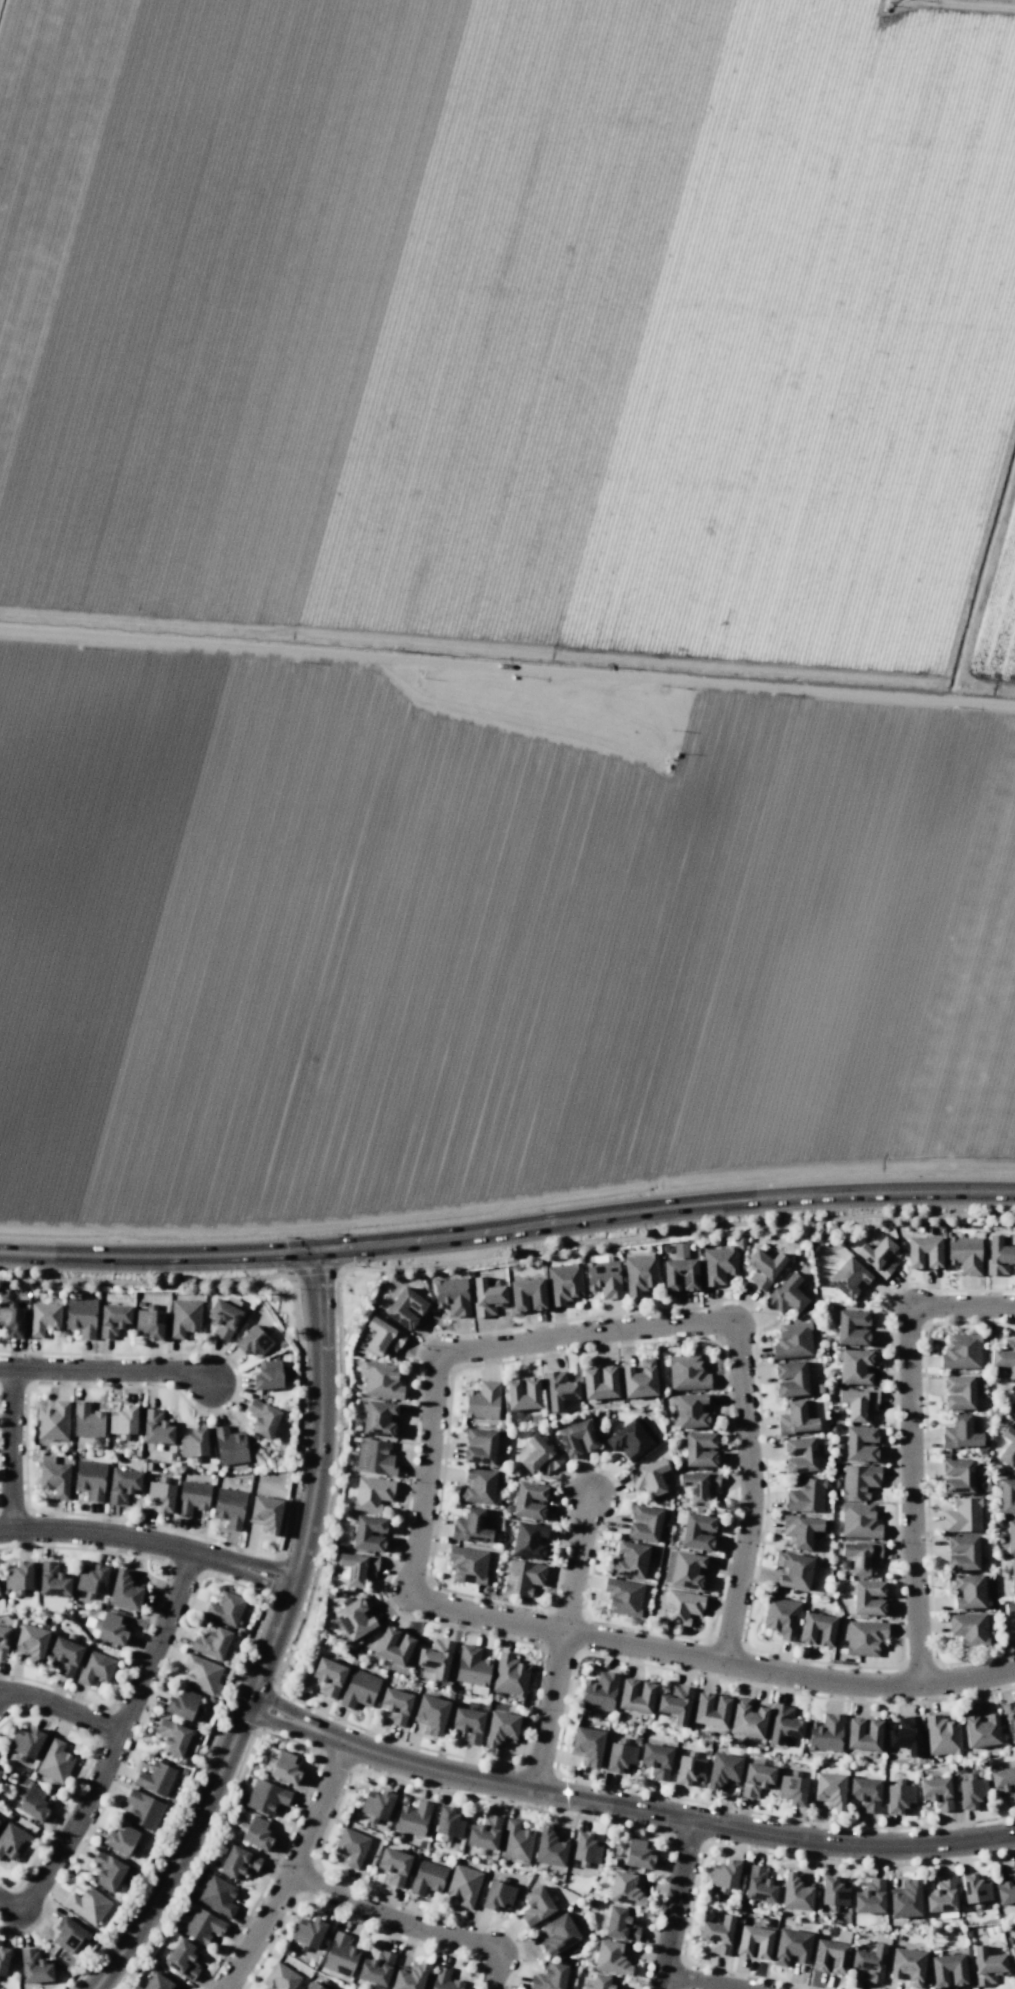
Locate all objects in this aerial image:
crop: (503, 595)
road: (507, 1230)
building: (923, 1252)
traffic signals: (316, 1254)
building: (964, 1254)
building: (998, 1255)
building: (877, 1257)
building: (718, 1265)
building: (763, 1267)
building: (639, 1273)
building: (679, 1275)
building: (603, 1278)
building: (848, 1279)
building: (563, 1283)
building: (526, 1294)
building: (786, 1295)
building: (451, 1296)
building: (486, 1296)
building: (405, 1308)
building: (80, 1316)
building: (43, 1318)
building: (184, 1318)
building: (223, 1319)
building: (113, 1320)
building: (12, 1321)
building: (149, 1322)
building: (851, 1327)
road: (635, 1328)
building: (382, 1337)
building: (792, 1340)
building: (253, 1342)
building: (960, 1352)
building: (1004, 1357)
building: (856, 1366)
road: (102, 1368)
building: (686, 1373)
building: (269, 1375)
building: (790, 1378)
building: (639, 1379)
building: (381, 1381)
building: (598, 1382)
building: (558, 1390)
building: (957, 1392)
building: (522, 1393)
building: (482, 1400)
building: (858, 1402)
building: (690, 1411)
building: (262, 1418)
building: (380, 1419)
building: (795, 1419)
building: (87, 1420)
building: (122, 1420)
building: (53, 1422)
building: (155, 1428)
building: (960, 1433)
building: (576, 1438)
building: (631, 1438)
building: (193, 1443)
road: (910, 1443)
building: (860, 1444)
road: (9, 1446)
building: (229, 1446)
building: (478, 1446)
building: (1007, 1446)
building: (699, 1449)
building: (799, 1454)
building: (538, 1456)
building: (374, 1457)
building: (54, 1476)
building: (956, 1476)
building: (648, 1477)
building: (90, 1479)
building: (858, 1481)
building: (122, 1485)
building: (698, 1486)
building: (476, 1487)
building: (371, 1493)
building: (160, 1495)
building: (805, 1495)
building: (1006, 1496)
building: (192, 1498)
building: (529, 1500)
building: (229, 1507)
building: (265, 1513)
building: (962, 1515)
building: (858, 1521)
building: (643, 1523)
building: (470, 1527)
building: (800, 1530)
building: (697, 1531)
building: (368, 1533)
building: (1010, 1537)
road: (150, 1539)
building: (530, 1542)
building: (961, 1552)
building: (861, 1556)
building: (628, 1560)
road: (575, 1564)
building: (468, 1565)
building: (358, 1568)
building: (793, 1570)
building: (688, 1571)
building: (1012, 1575)
building: (18, 1576)
building: (522, 1577)
building: (91, 1579)
building: (52, 1580)
building: (967, 1590)
building: (124, 1591)
building: (623, 1596)
building: (867, 1597)
building: (681, 1607)
building: (1009, 1608)
building: (224, 1609)
building: (781, 1617)
building: (354, 1619)
building: (111, 1629)
building: (816, 1629)
building: (969, 1629)
building: (864, 1637)
road: (273, 1639)
building: (3, 1641)
building: (211, 1642)
building: (31, 1643)
building: (393, 1646)
building: (65, 1656)
building: (435, 1658)
road: (711, 1658)
building: (471, 1666)
building: (95, 1668)
building: (200, 1674)
building: (509, 1675)
building: (328, 1676)
building: (359, 1689)
building: (599, 1691)
building: (635, 1695)
building: (675, 1704)
building: (183, 1705)
building: (395, 1705)
road: (60, 1707)
building: (710, 1709)
road: (548, 1711)
building: (430, 1714)
building: (747, 1719)
building: (1009, 1719)
building: (467, 1724)
building: (783, 1724)
building: (501, 1728)
building: (979, 1729)
building: (825, 1733)
building: (863, 1734)
building: (905, 1735)
building: (941, 1735)
building: (172, 1737)
building: (25, 1743)
road: (112, 1745)
building: (587, 1745)
building: (619, 1756)
building: (656, 1760)
building: (55, 1761)
building: (284, 1767)
building: (688, 1770)
building: (722, 1771)
building: (156, 1779)
building: (756, 1779)
building: (1003, 1781)
building: (792, 1788)
building: (829, 1789)
building: (936, 1792)
building: (970, 1792)
building: (865, 1793)
building: (898, 1796)
building: (265, 1797)
building: (31, 1801)
building: (377, 1805)
road: (625, 1807)
building: (142, 1809)
building: (412, 1818)
building: (448, 1822)
building: (256, 1833)
building: (484, 1833)
building: (121, 1839)
building: (12, 1841)
building: (515, 1841)
building: (351, 1846)
building: (549, 1847)
building: (585, 1848)
building: (636, 1854)
building: (238, 1862)
building: (393, 1865)
road: (294, 1870)
building: (107, 1871)
building: (724, 1874)
building: (427, 1877)
building: (463, 1885)
building: (758, 1885)
building: (1006, 1888)
building: (625, 1889)
building: (974, 1889)
building: (833, 1891)
building: (795, 1892)
building: (941, 1895)
building: (218, 1896)
building: (497, 1896)
building: (869, 1898)
building: (905, 1899)
road: (675, 1904)
building: (88, 1905)
building: (535, 1906)
road: (410, 1923)
building: (620, 1924)
building: (203, 1926)
building: (308, 1932)
building: (67, 1934)
building: (558, 1934)
building: (716, 1934)
building: (753, 1942)
building: (790, 1947)
building: (340, 1954)
building: (1012, 1956)
building: (829, 1957)
building: (611, 1958)
building: (182, 1959)
building: (3, 1960)
building: (869, 1963)
building: (986, 1965)
building: (907, 1966)
building: (34, 1967)
building: (375, 1968)
building: (947, 1970)
building: (409, 1976)
building: (280, 1977)
building: (549, 1977)
building: (443, 1979)
road: (697, 1981)
building: (157, 1982)
building: (601, 1982)
building: (311, 1986)

